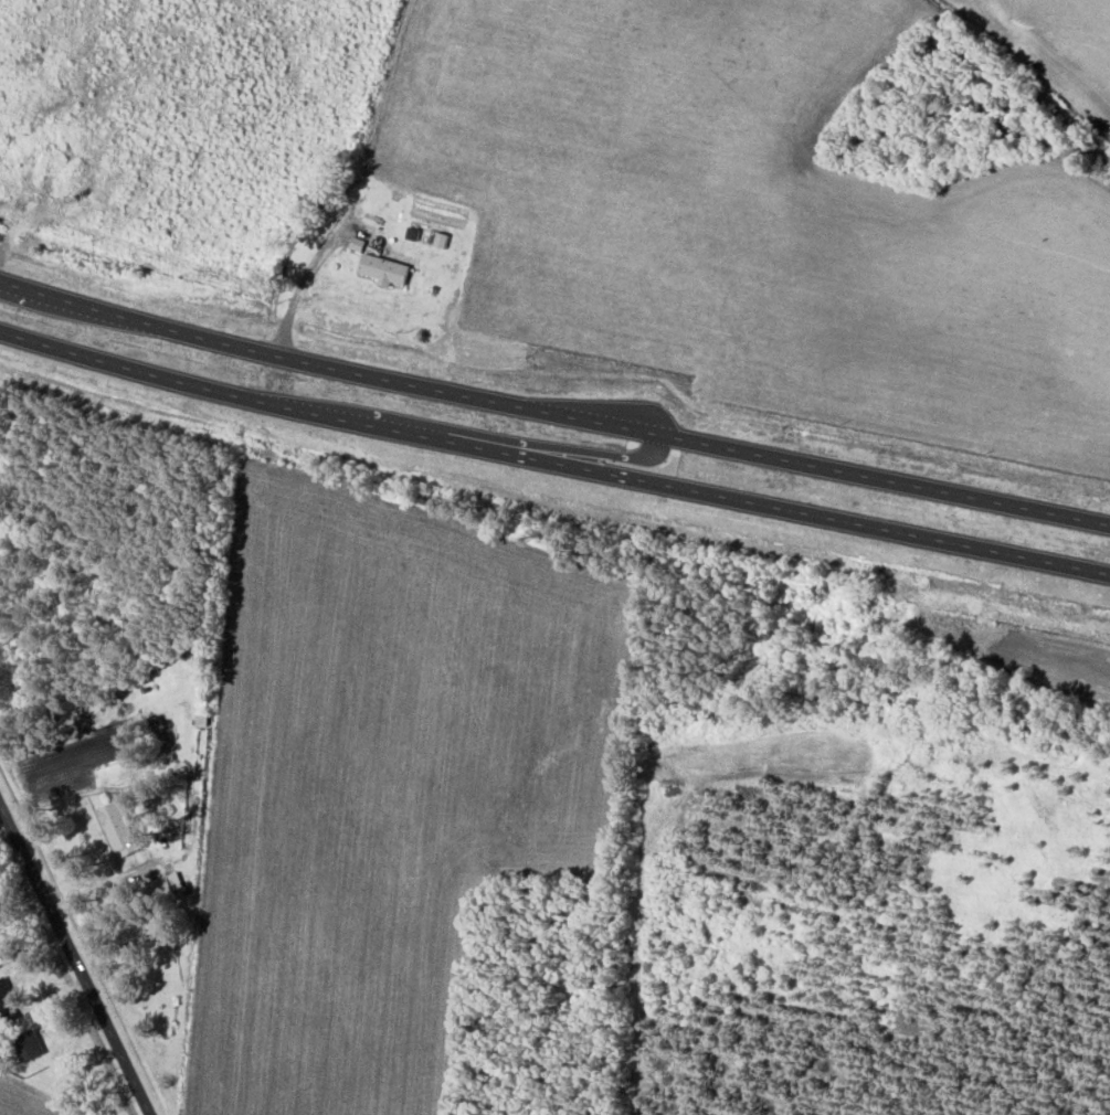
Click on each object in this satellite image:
building: (384, 270)
road: (552, 412)
road: (552, 461)
building: (161, 725)
building: (118, 830)
road: (78, 960)
building: (6, 995)
building: (28, 1047)

